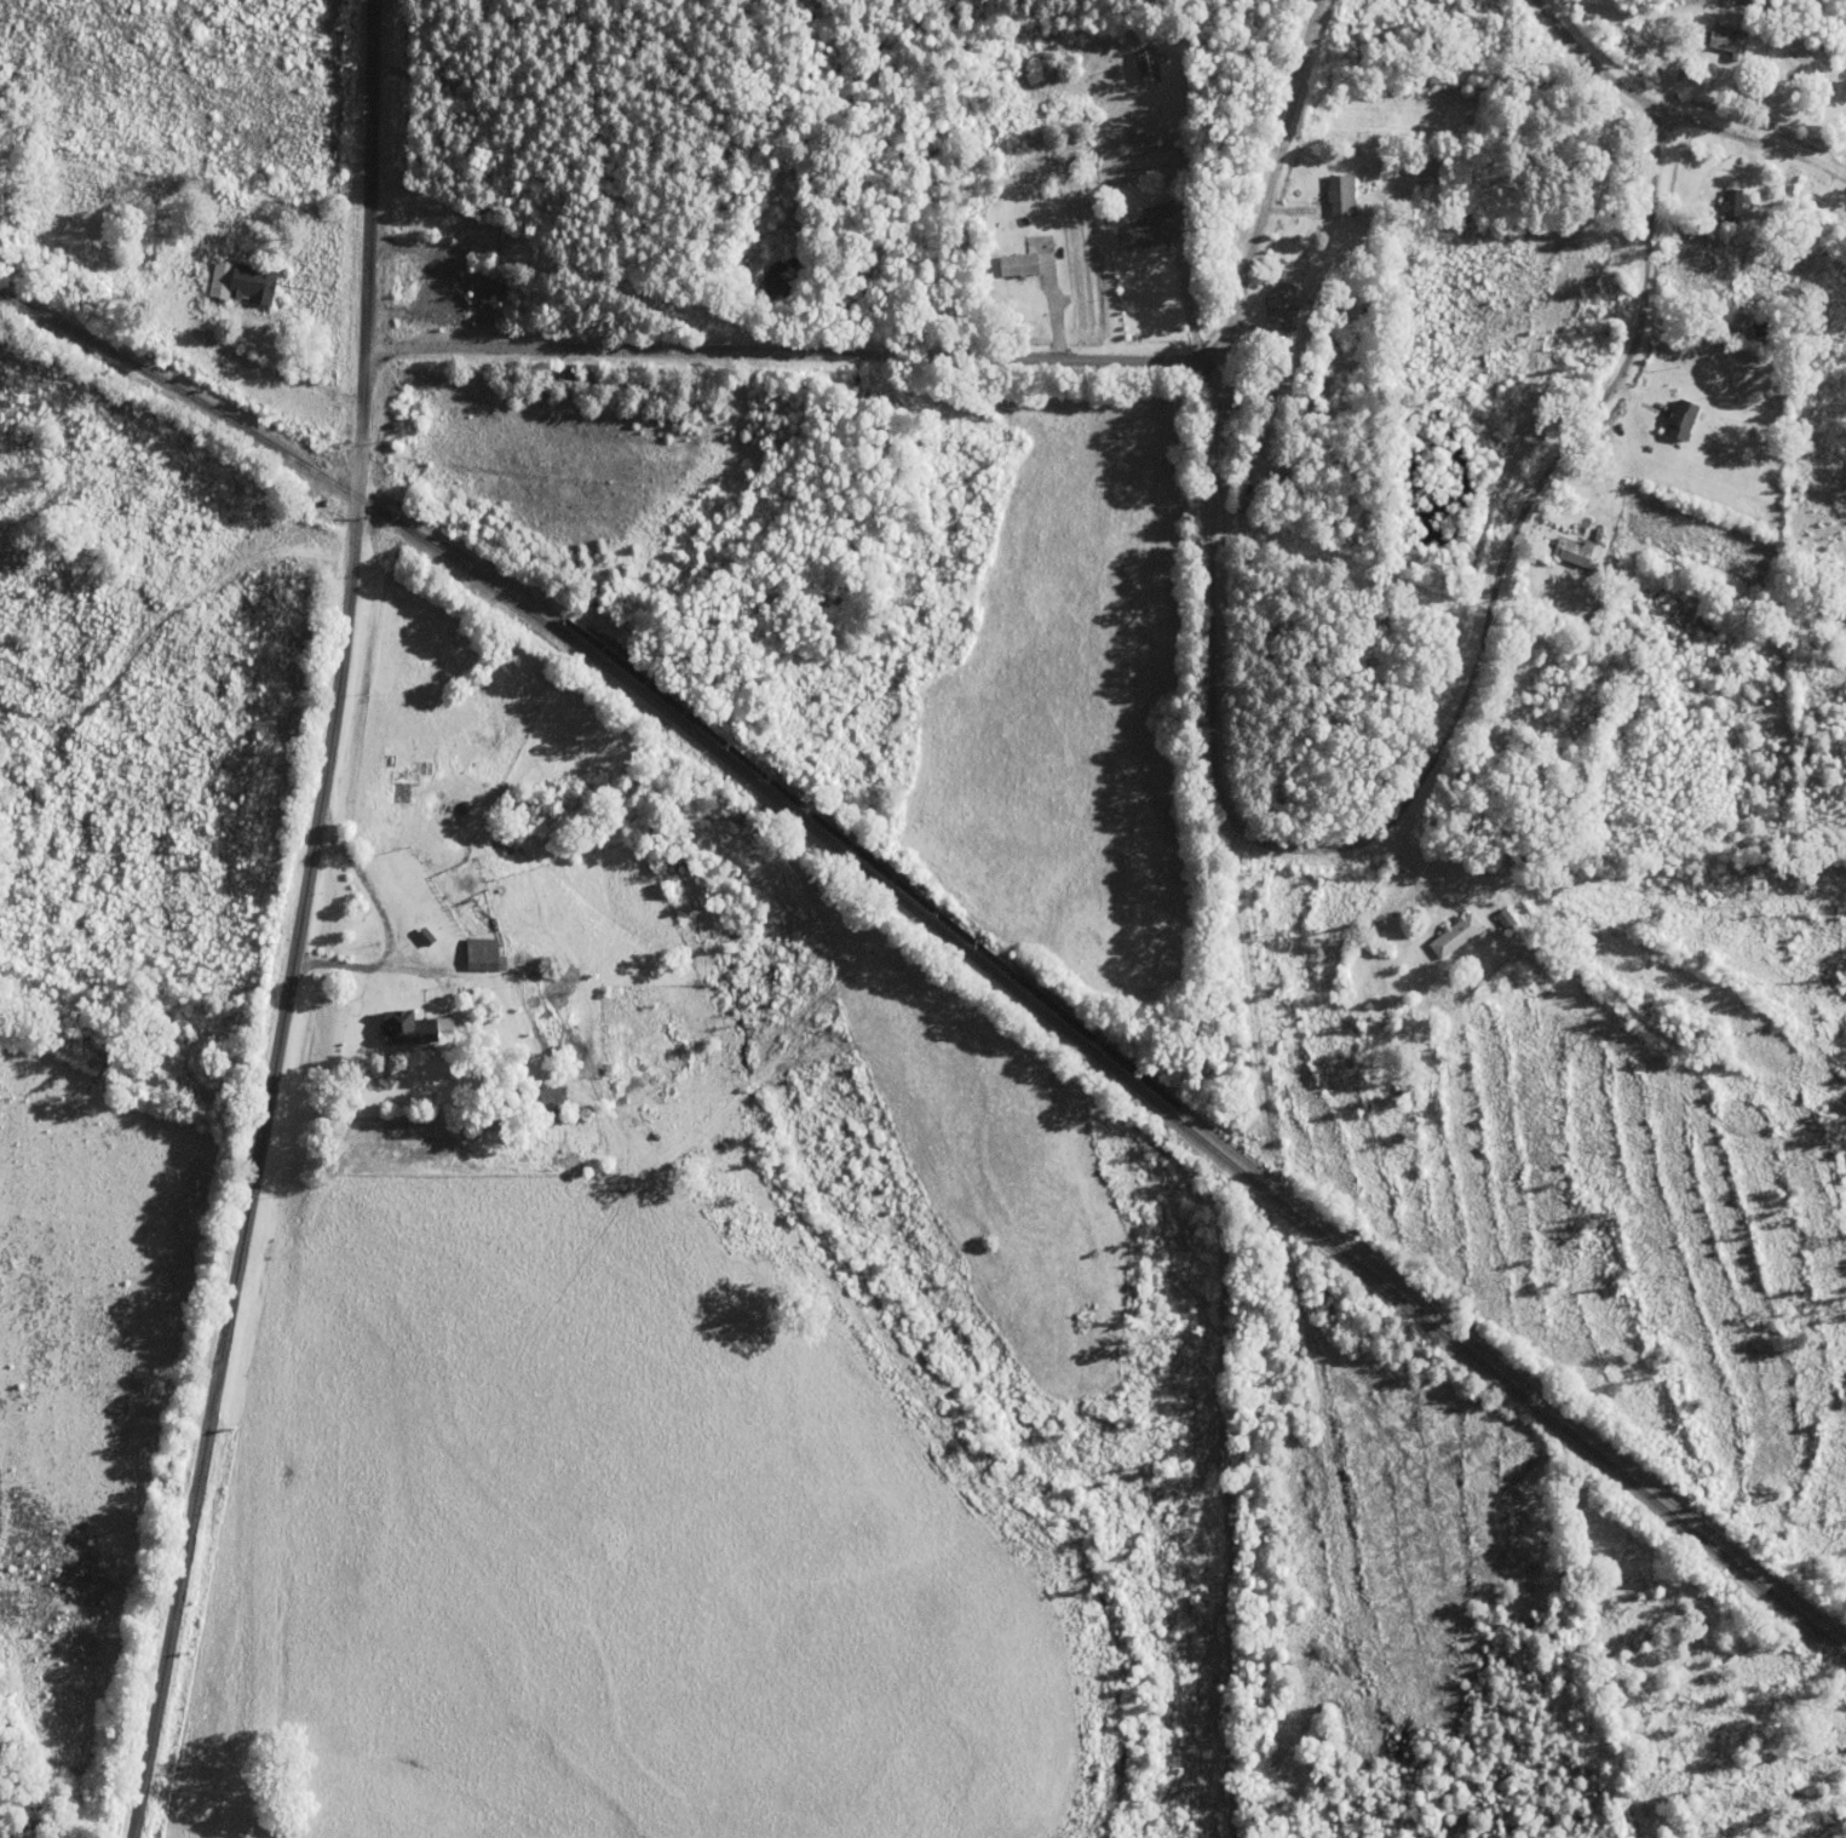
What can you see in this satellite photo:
road: (1667, 39)
road: (1673, 117)
road: (1277, 179)
road: (794, 352)
road: (1512, 542)
road: (1217, 593)
road: (300, 924)
railway: (970, 953)
road: (1293, 1329)

